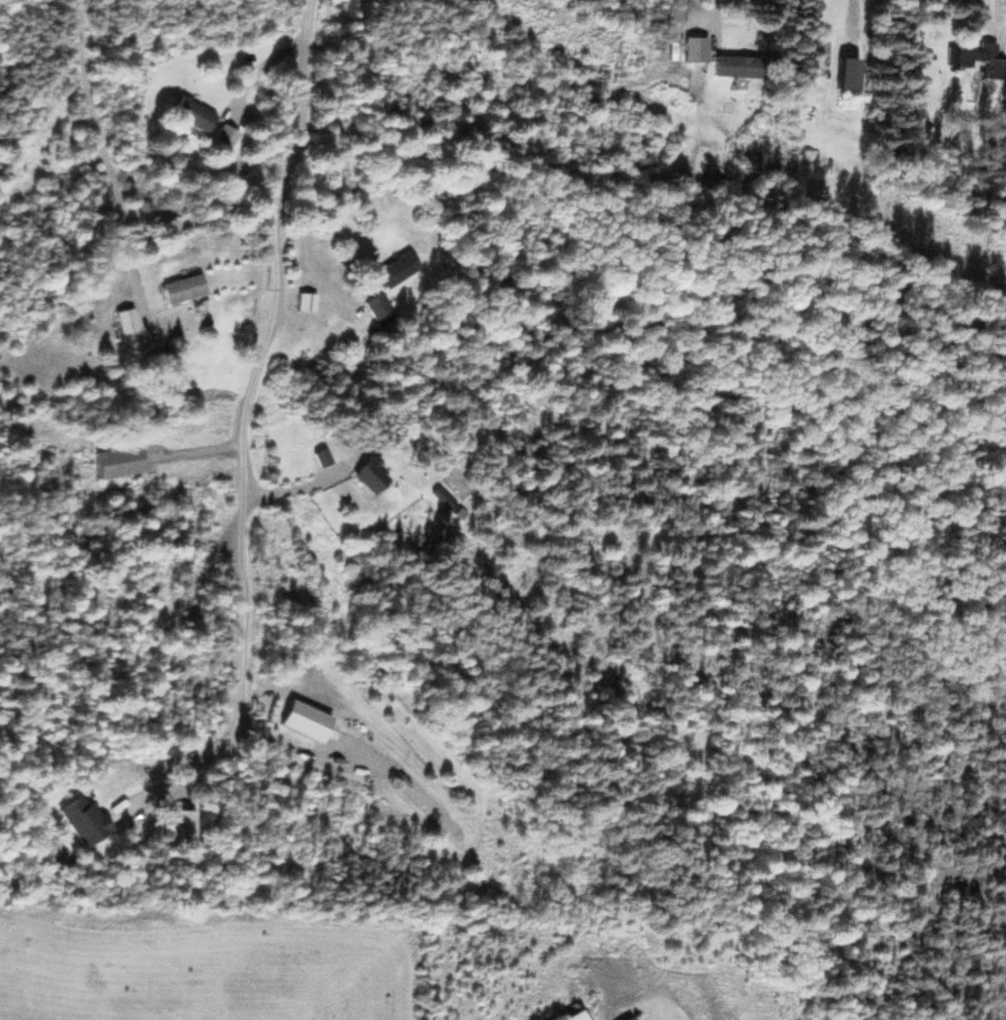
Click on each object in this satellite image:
road: (709, 27)
building: (813, 49)
building: (973, 53)
building: (732, 62)
building: (844, 70)
road: (251, 72)
building: (191, 110)
building: (823, 161)
road: (104, 163)
road: (302, 227)
building: (393, 265)
building: (180, 283)
building: (303, 297)
building: (376, 305)
building: (124, 316)
road: (259, 360)
building: (386, 435)
road: (192, 447)
building: (320, 452)
building: (115, 457)
building: (369, 470)
road: (296, 483)
building: (441, 496)
road: (354, 763)
road: (173, 771)
building: (80, 816)
building: (574, 1016)

